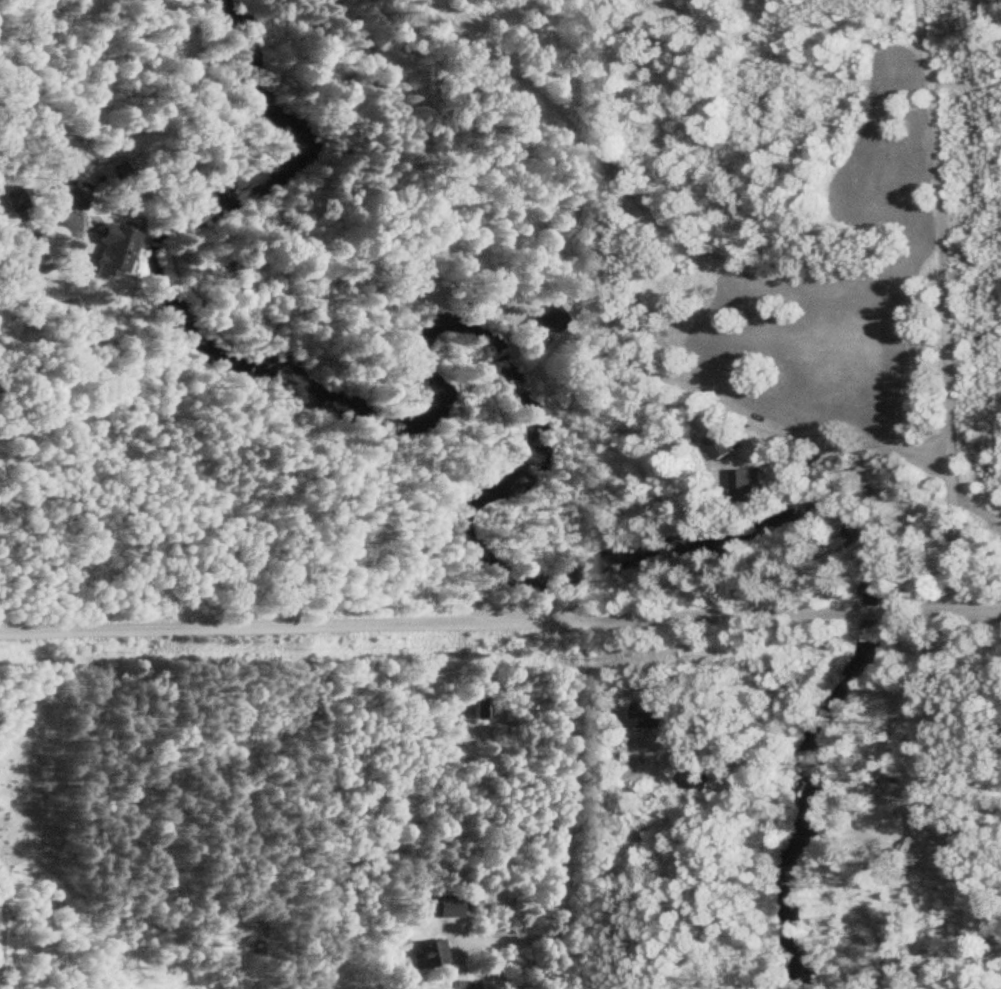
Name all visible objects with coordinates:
building: (72, 193)
building: (108, 250)
road: (943, 301)
road: (569, 337)
river: (541, 450)
road: (946, 603)
road: (864, 610)
road: (417, 617)
building: (479, 708)
building: (693, 778)
building: (468, 901)
building: (447, 906)
building: (429, 953)

